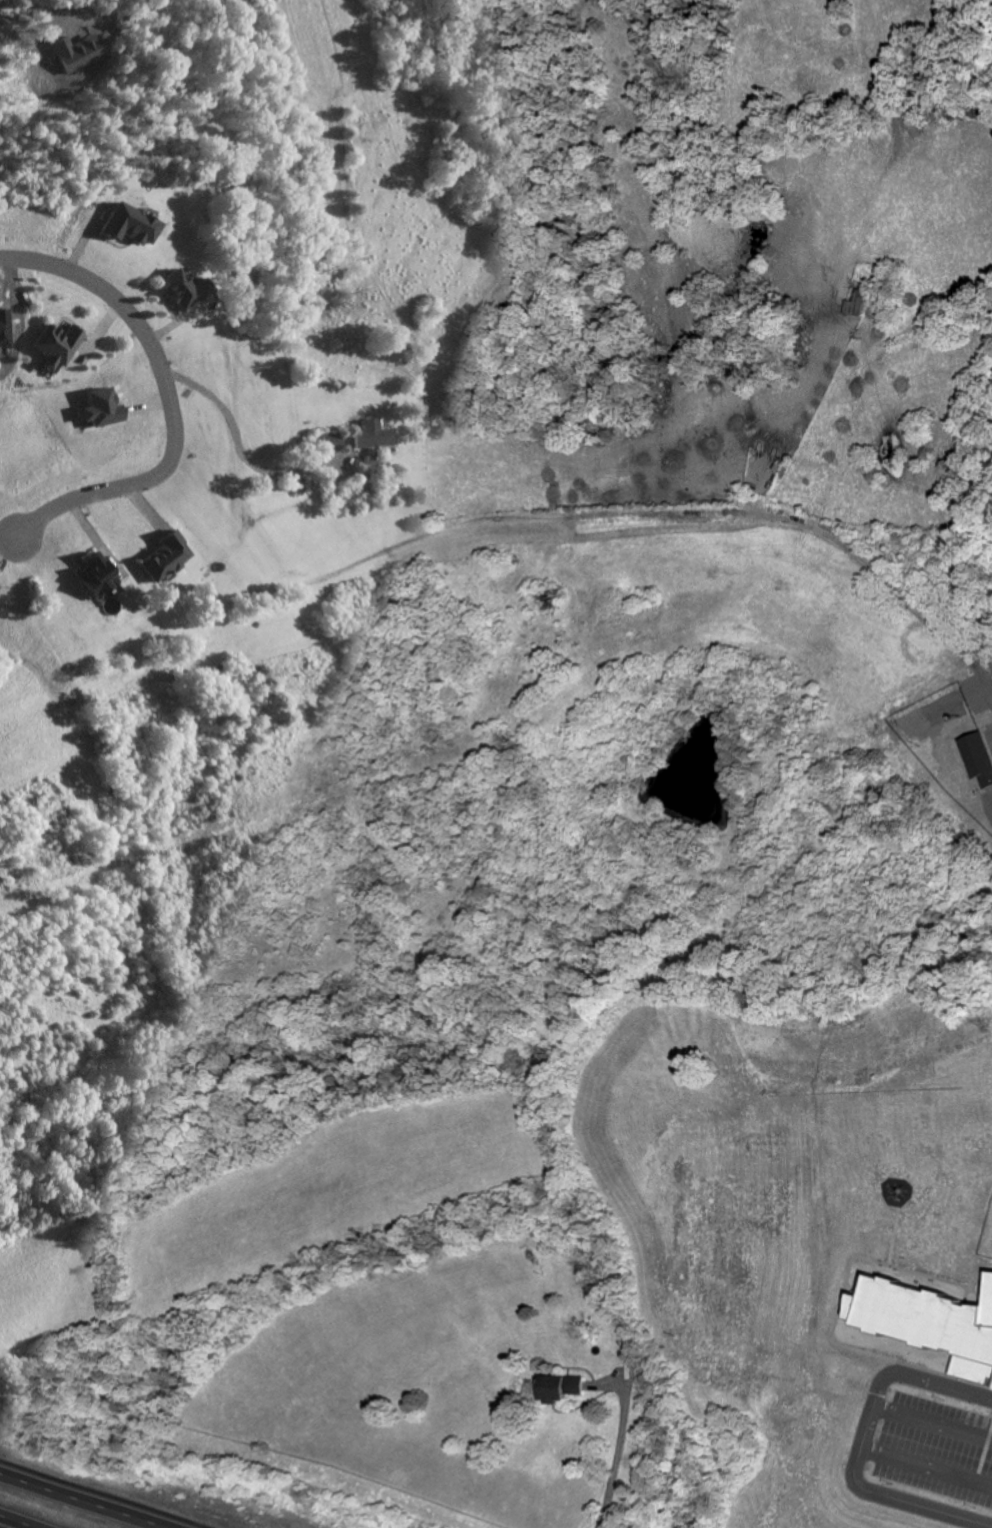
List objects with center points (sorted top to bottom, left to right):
building: (129, 227)
building: (183, 292)
building: (56, 348)
road: (169, 395)
building: (101, 410)
building: (375, 437)
building: (332, 443)
road: (241, 449)
road: (643, 513)
building: (162, 560)
building: (93, 579)
building: (978, 760)
building: (925, 1316)
road: (924, 1383)
building: (560, 1389)
road: (616, 1454)
road: (883, 1498)
road: (85, 1499)
road: (17, 1522)

